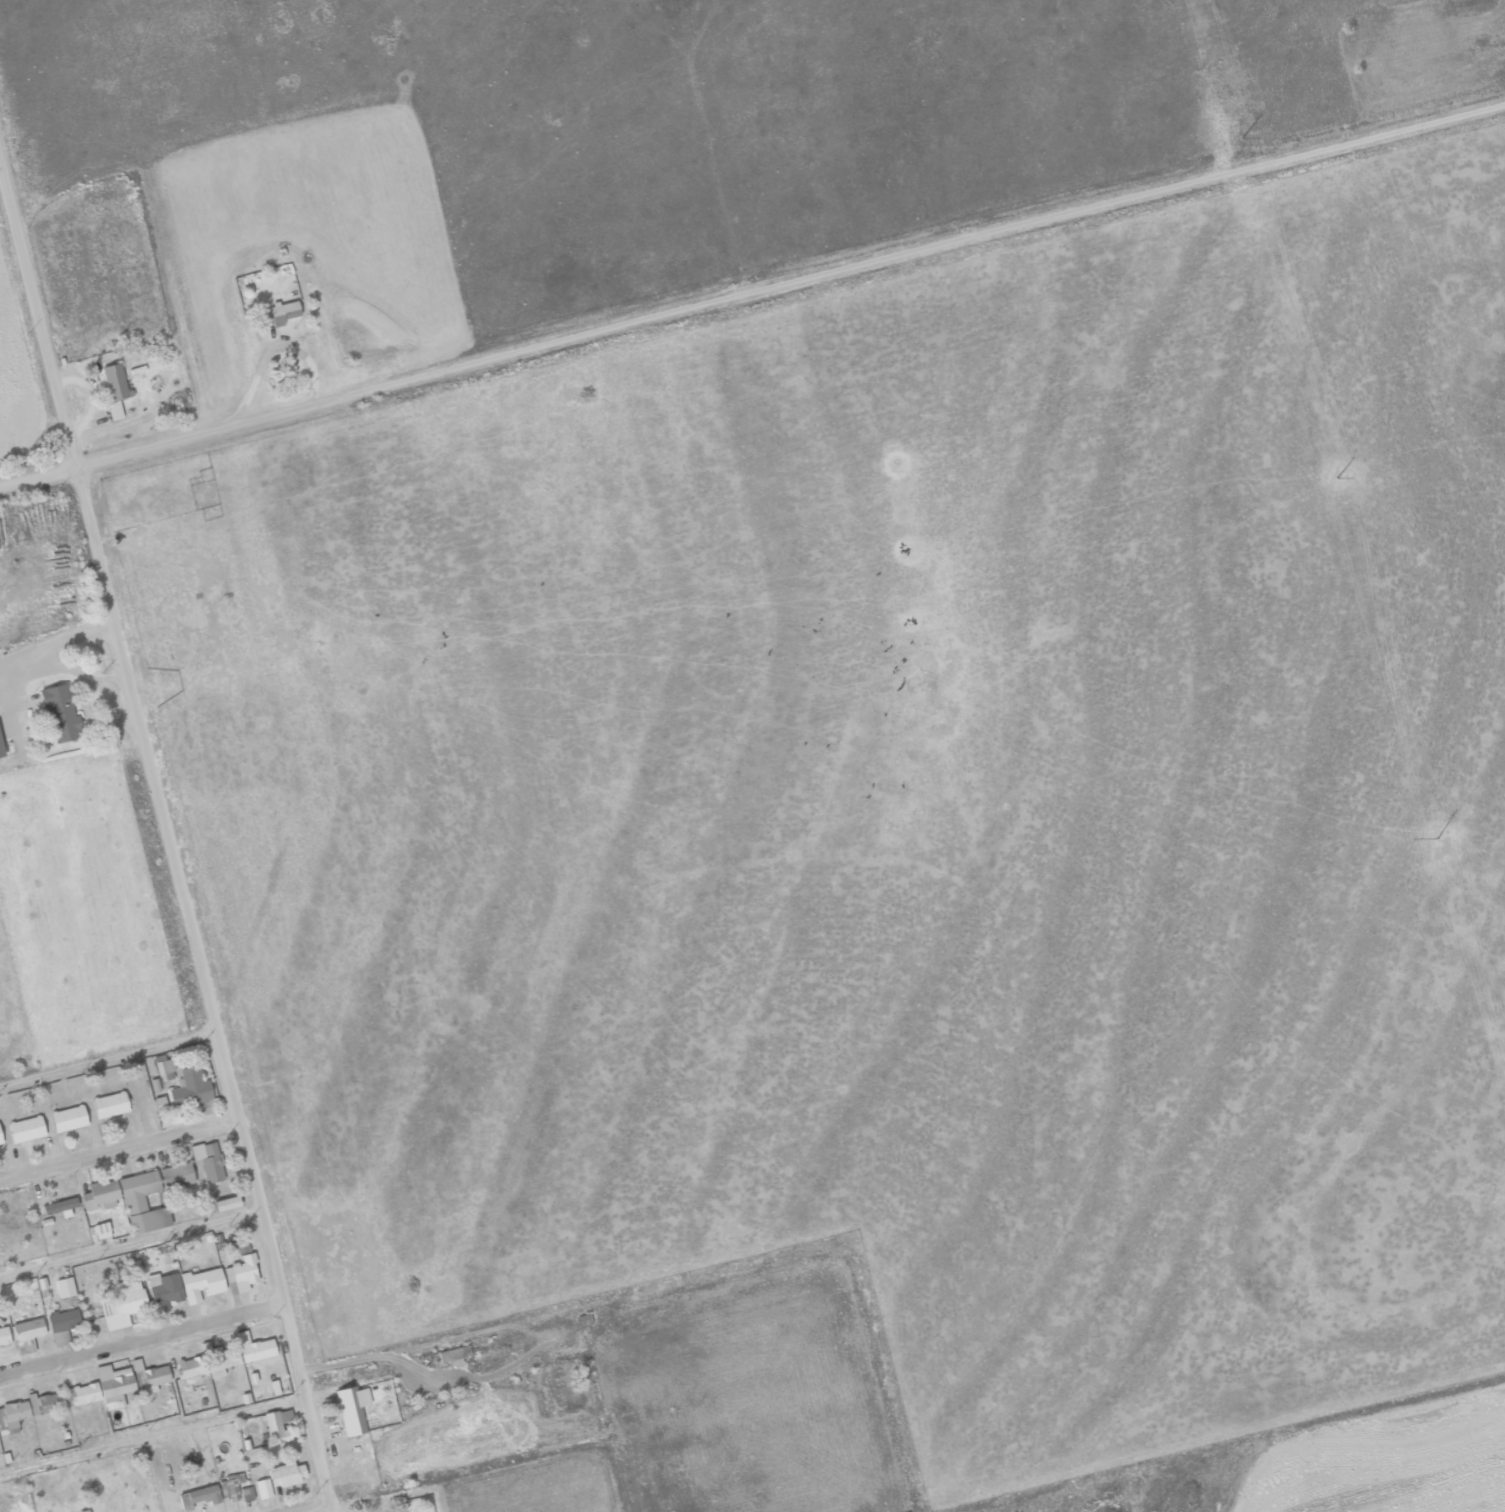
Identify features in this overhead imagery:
road: (723, 145)
power tower: (1245, 156)
road: (751, 290)
building: (283, 312)
road: (37, 326)
building: (113, 388)
power tower: (1338, 485)
building: (60, 713)
building: (1, 752)
power tower: (1439, 849)
road: (202, 990)
road: (106, 1057)
building: (190, 1088)
building: (159, 1103)
building: (109, 1104)
building: (67, 1118)
building: (25, 1129)
building: (0, 1142)
road: (116, 1148)
building: (207, 1161)
building: (176, 1175)
building: (100, 1195)
building: (141, 1203)
building: (225, 1203)
building: (59, 1207)
building: (101, 1230)
road: (129, 1242)
building: (241, 1245)
building: (241, 1274)
building: (201, 1283)
building: (65, 1286)
building: (164, 1288)
building: (122, 1303)
building: (63, 1320)
building: (27, 1334)
building: (4, 1336)
building: (60, 1337)
road: (140, 1339)
building: (254, 1347)
building: (454, 1355)
building: (219, 1358)
building: (189, 1366)
building: (148, 1376)
building: (113, 1385)
building: (274, 1387)
building: (81, 1393)
building: (245, 1398)
building: (352, 1408)
building: (27, 1410)
building: (277, 1426)
road: (152, 1435)
building: (286, 1474)
building: (231, 1486)
building: (263, 1488)
building: (247, 1493)
road: (306, 1506)

